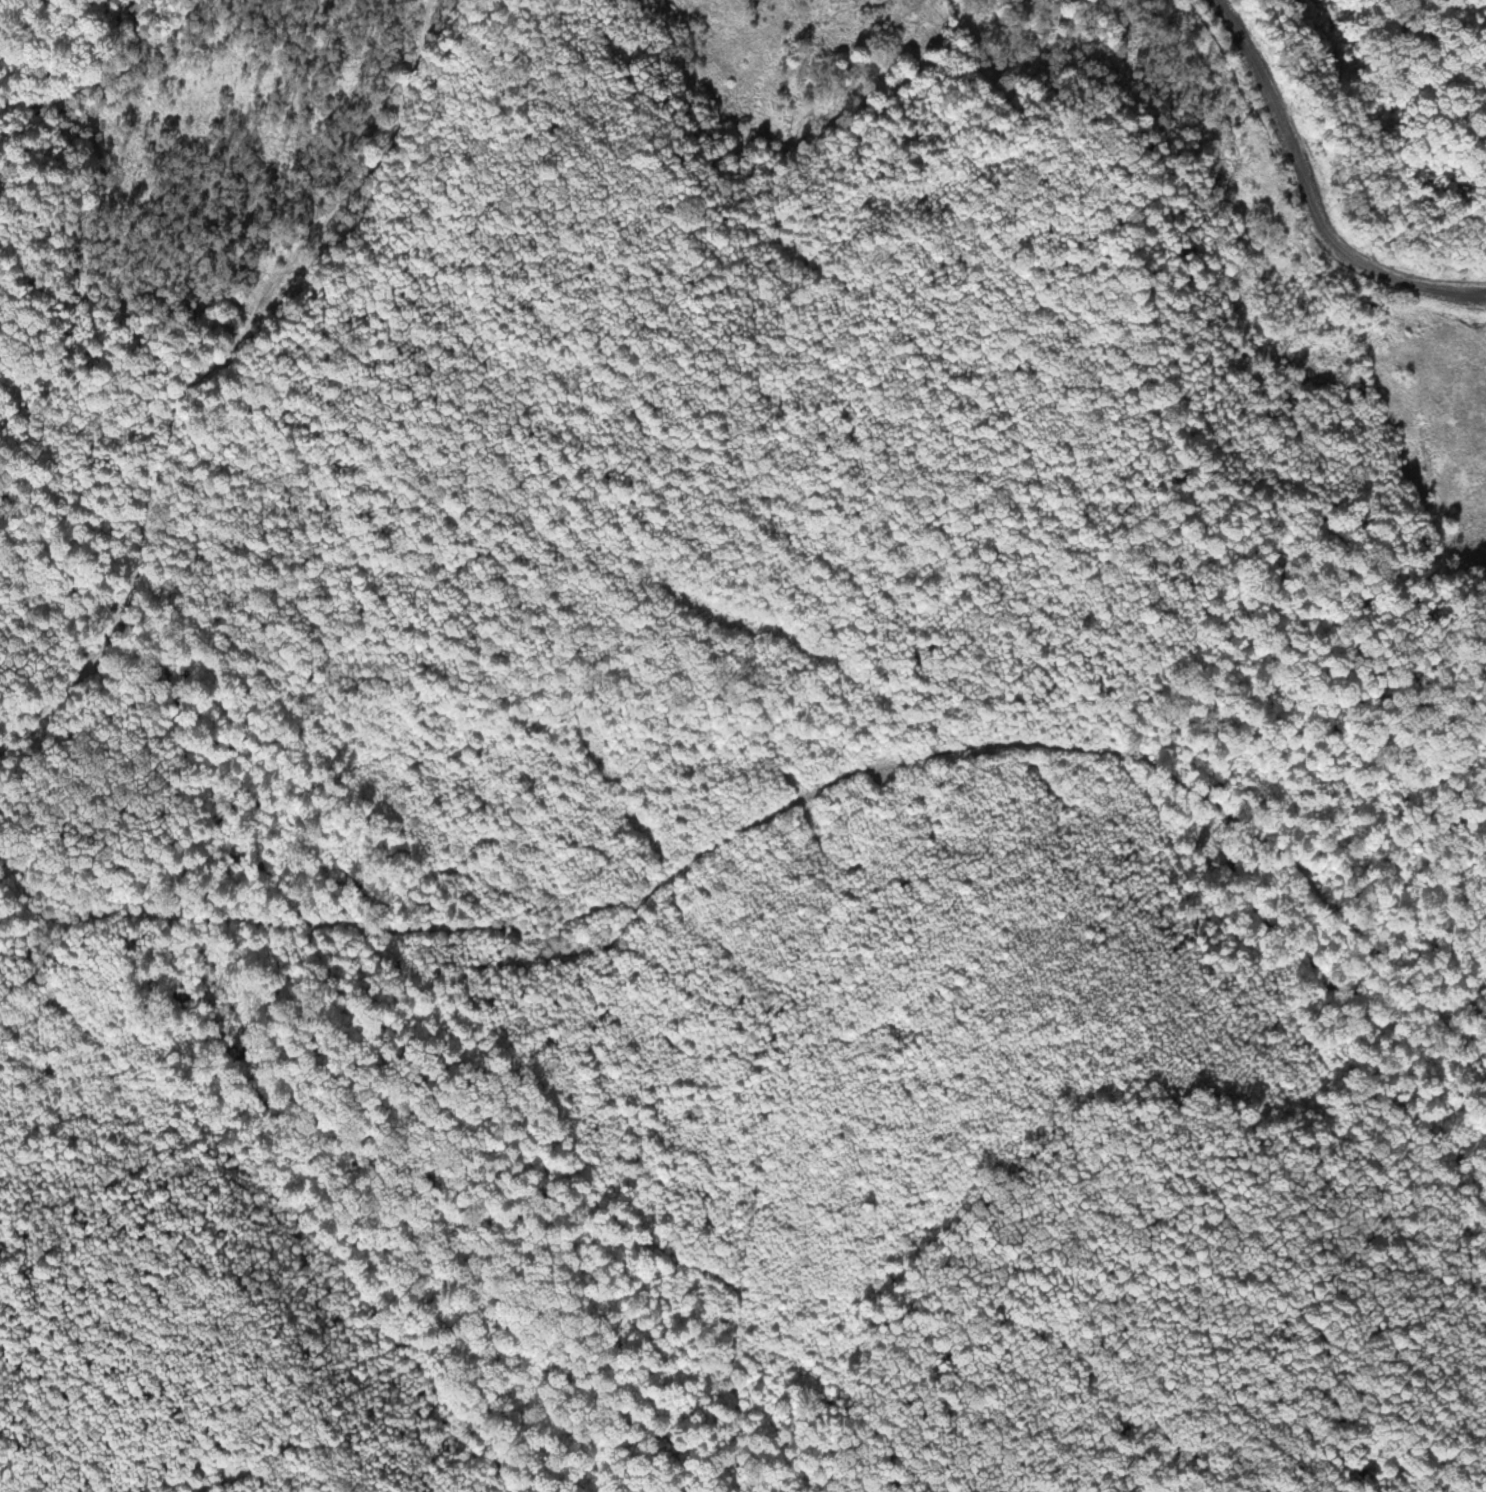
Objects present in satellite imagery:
road: (1425, 57)

